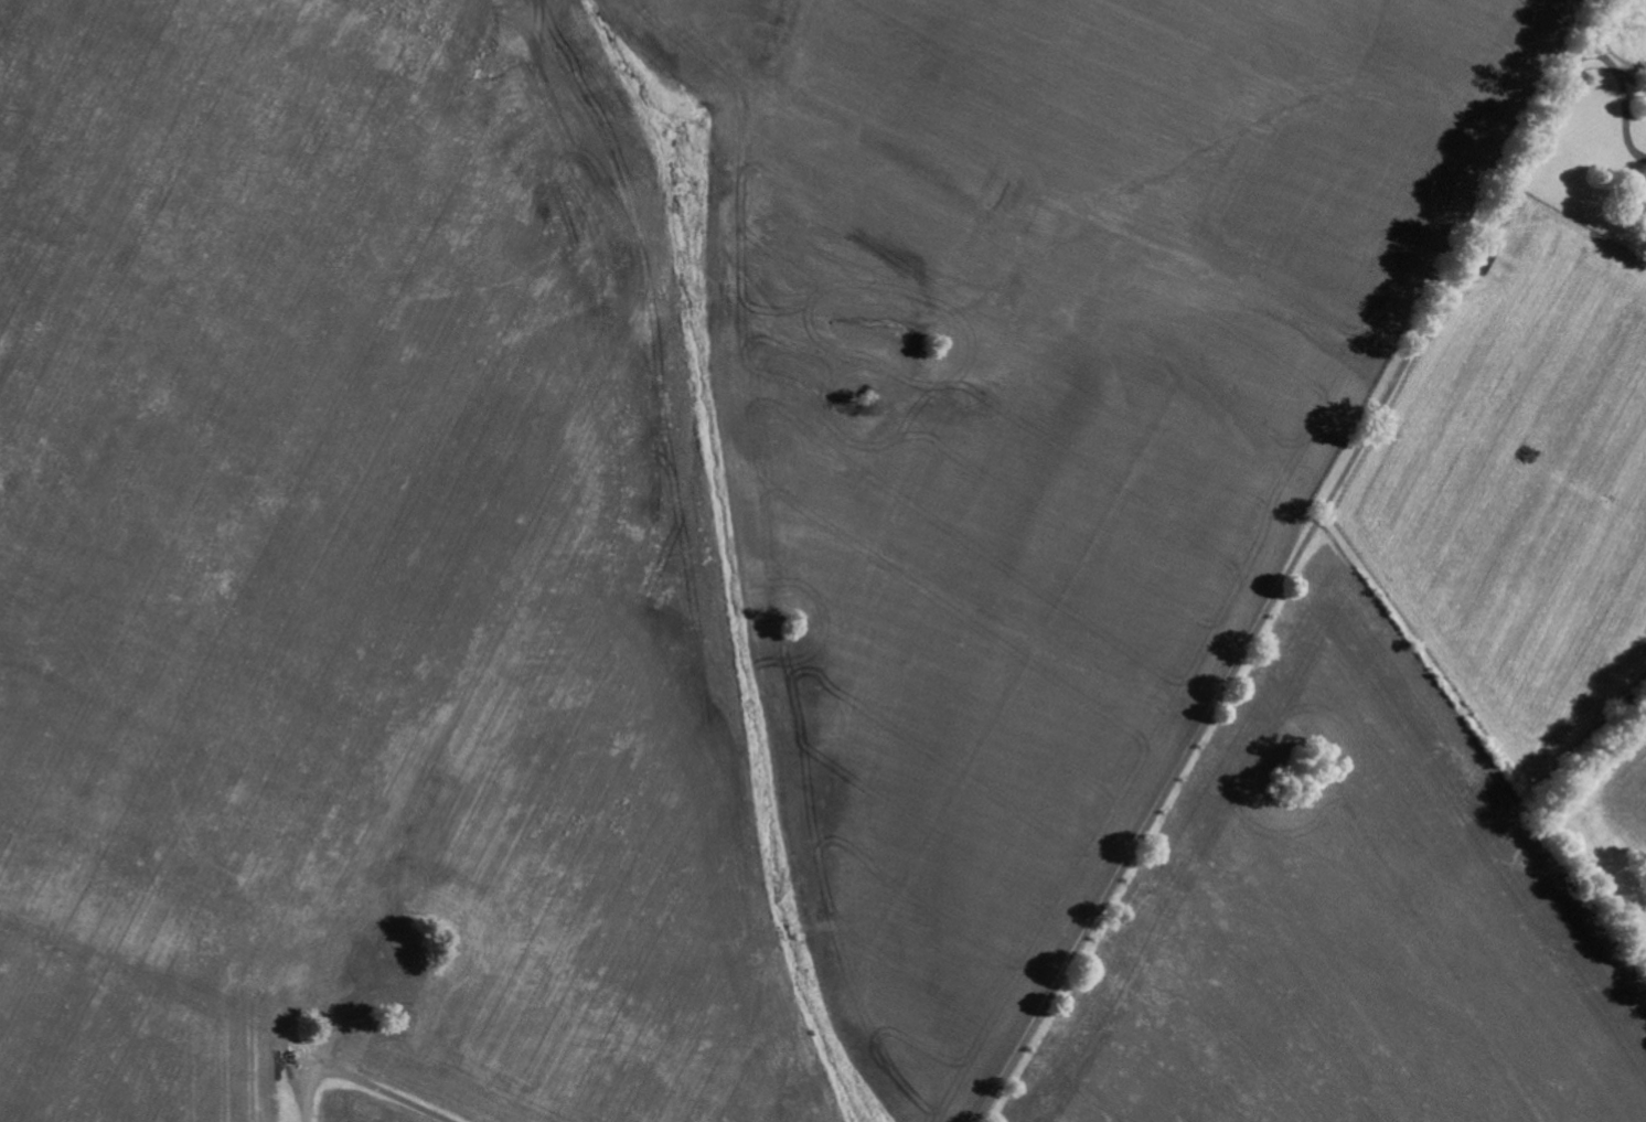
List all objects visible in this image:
road: (1618, 68)
road: (1304, 562)
road: (355, 1089)
road: (420, 1121)

